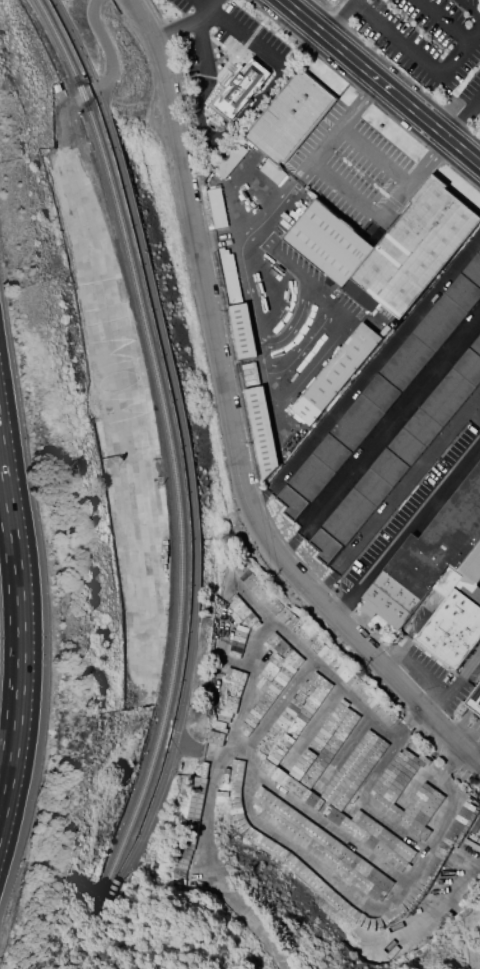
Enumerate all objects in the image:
road: (208, 5)
road: (469, 8)
road: (214, 10)
road: (347, 20)
road: (451, 29)
road: (174, 32)
road: (105, 46)
road: (415, 58)
road: (380, 82)
building: (240, 87)
road: (463, 116)
building: (289, 117)
road: (231, 129)
road: (319, 158)
road: (398, 180)
road: (362, 200)
building: (217, 207)
building: (388, 247)
road: (252, 301)
road: (328, 304)
road: (293, 325)
building: (242, 331)
building: (336, 373)
building: (382, 391)
road: (274, 409)
road: (475, 415)
road: (230, 421)
building: (262, 429)
road: (380, 436)
road: (184, 437)
railway: (170, 442)
building: (398, 455)
road: (396, 495)
building: (439, 578)
road: (16, 639)
road: (472, 669)
road: (240, 694)
road: (449, 699)
building: (475, 701)
road: (279, 704)
road: (359, 801)
building: (461, 818)
road: (326, 827)
building: (375, 838)
building: (323, 846)
road: (358, 900)

